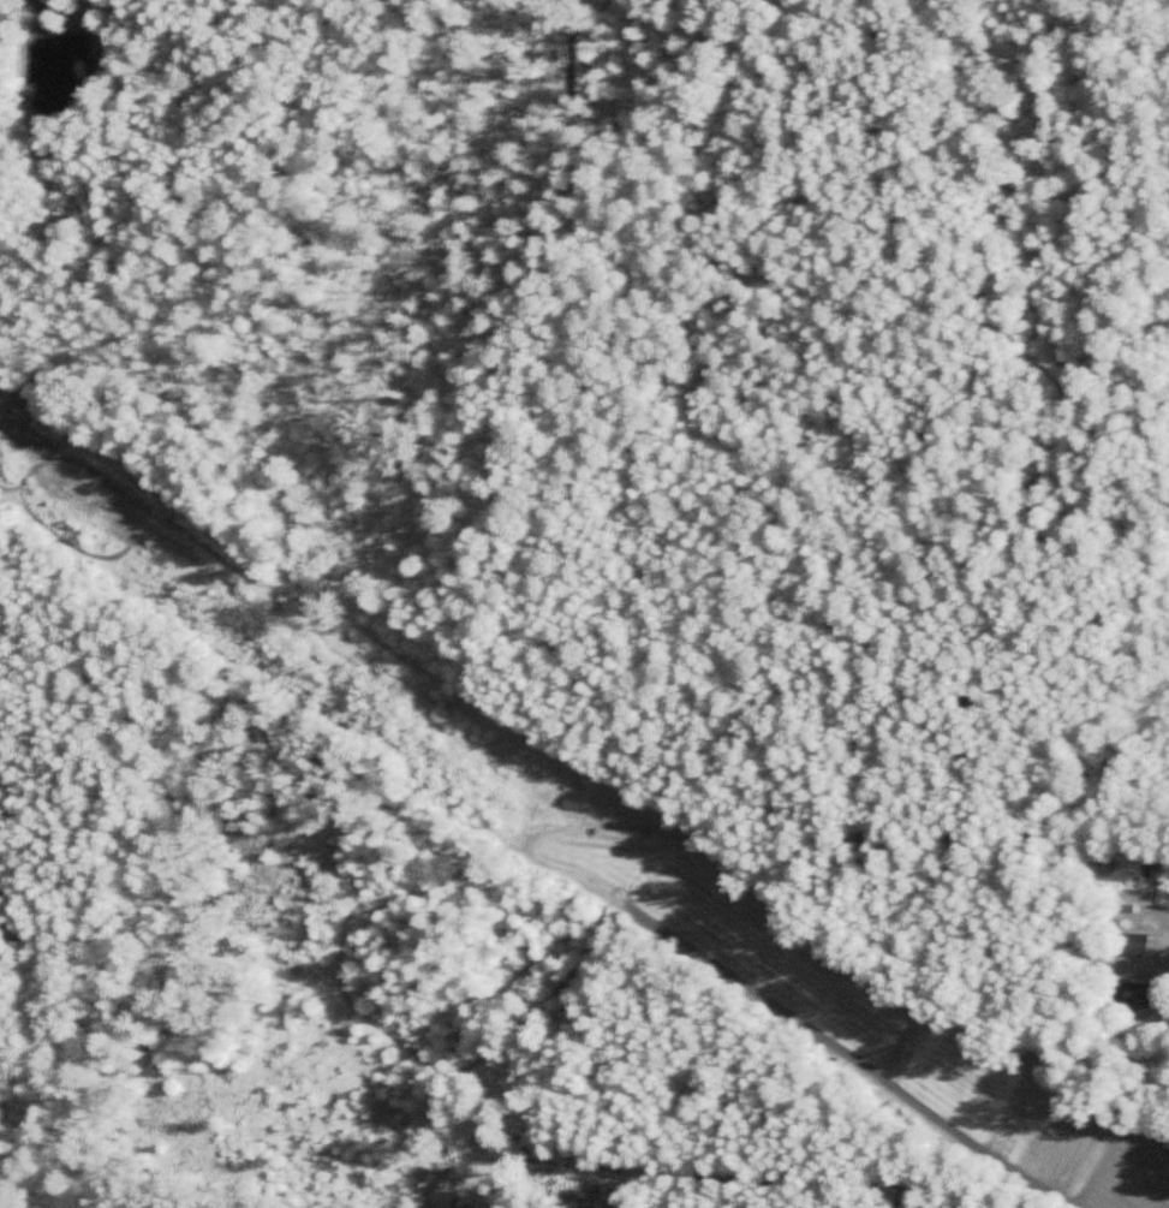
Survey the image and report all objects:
building: (1132, 945)
building: (1132, 995)

